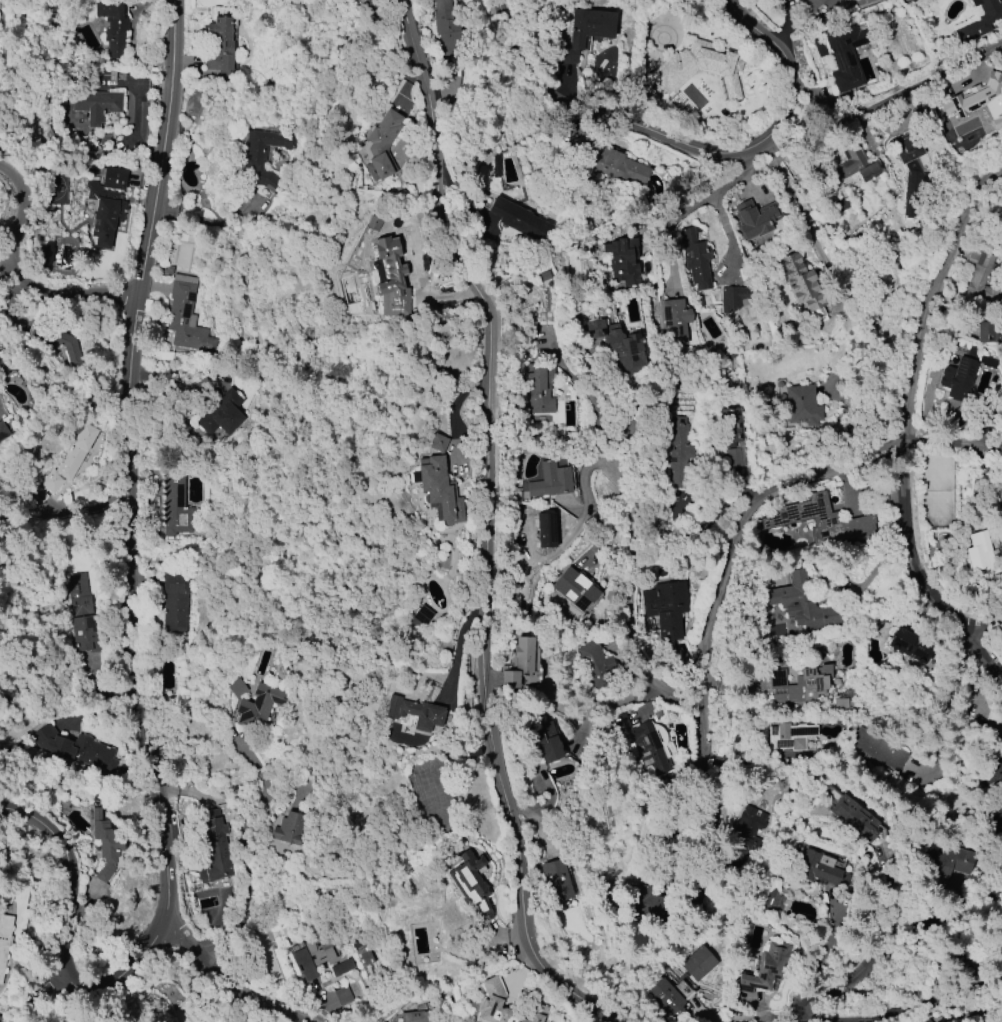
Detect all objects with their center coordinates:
building: (866, 0)
building: (372, 3)
building: (805, 9)
road: (675, 17)
building: (979, 20)
building: (113, 25)
building: (448, 30)
building: (587, 31)
building: (221, 49)
building: (845, 56)
road: (786, 57)
building: (698, 68)
road: (930, 77)
building: (978, 100)
building: (95, 106)
road: (615, 118)
road: (862, 131)
building: (381, 143)
building: (264, 158)
building: (853, 166)
building: (615, 167)
building: (909, 168)
road: (716, 203)
building: (106, 205)
building: (520, 219)
building: (756, 219)
road: (209, 222)
road: (669, 229)
building: (46, 254)
building: (696, 258)
building: (623, 261)
road: (7, 264)
building: (979, 272)
building: (390, 277)
road: (17, 279)
building: (803, 285)
building: (735, 297)
building: (186, 315)
building: (674, 322)
building: (985, 332)
building: (618, 346)
building: (957, 379)
building: (539, 390)
building: (801, 405)
building: (221, 413)
building: (2, 430)
road: (901, 431)
building: (731, 434)
building: (437, 443)
building: (678, 451)
building: (64, 464)
building: (550, 480)
building: (437, 491)
road: (777, 491)
building: (175, 504)
building: (820, 520)
road: (493, 524)
building: (546, 530)
road: (577, 542)
building: (981, 554)
building: (575, 588)
building: (174, 602)
building: (801, 604)
road: (629, 605)
building: (666, 608)
building: (81, 612)
building: (421, 615)
road: (983, 632)
road: (136, 637)
road: (459, 639)
building: (910, 645)
building: (519, 663)
building: (595, 664)
building: (799, 684)
road: (619, 700)
road: (946, 704)
building: (259, 706)
building: (414, 712)
building: (789, 736)
building: (546, 741)
building: (1000, 744)
building: (642, 746)
building: (75, 748)
building: (878, 749)
building: (991, 772)
building: (855, 818)
building: (996, 822)
building: (288, 828)
building: (746, 830)
road: (715, 833)
building: (105, 845)
building: (213, 847)
building: (948, 861)
building: (816, 869)
building: (556, 881)
building: (471, 883)
building: (4, 937)
road: (511, 937)
road: (187, 938)
road: (894, 943)
building: (1000, 950)
building: (263, 954)
building: (363, 956)
building: (317, 958)
building: (698, 963)
building: (766, 969)
building: (348, 993)
building: (670, 995)
road: (257, 996)
road: (37, 1000)
road: (931, 1000)
building: (506, 1006)
building: (193, 1011)
building: (415, 1012)

